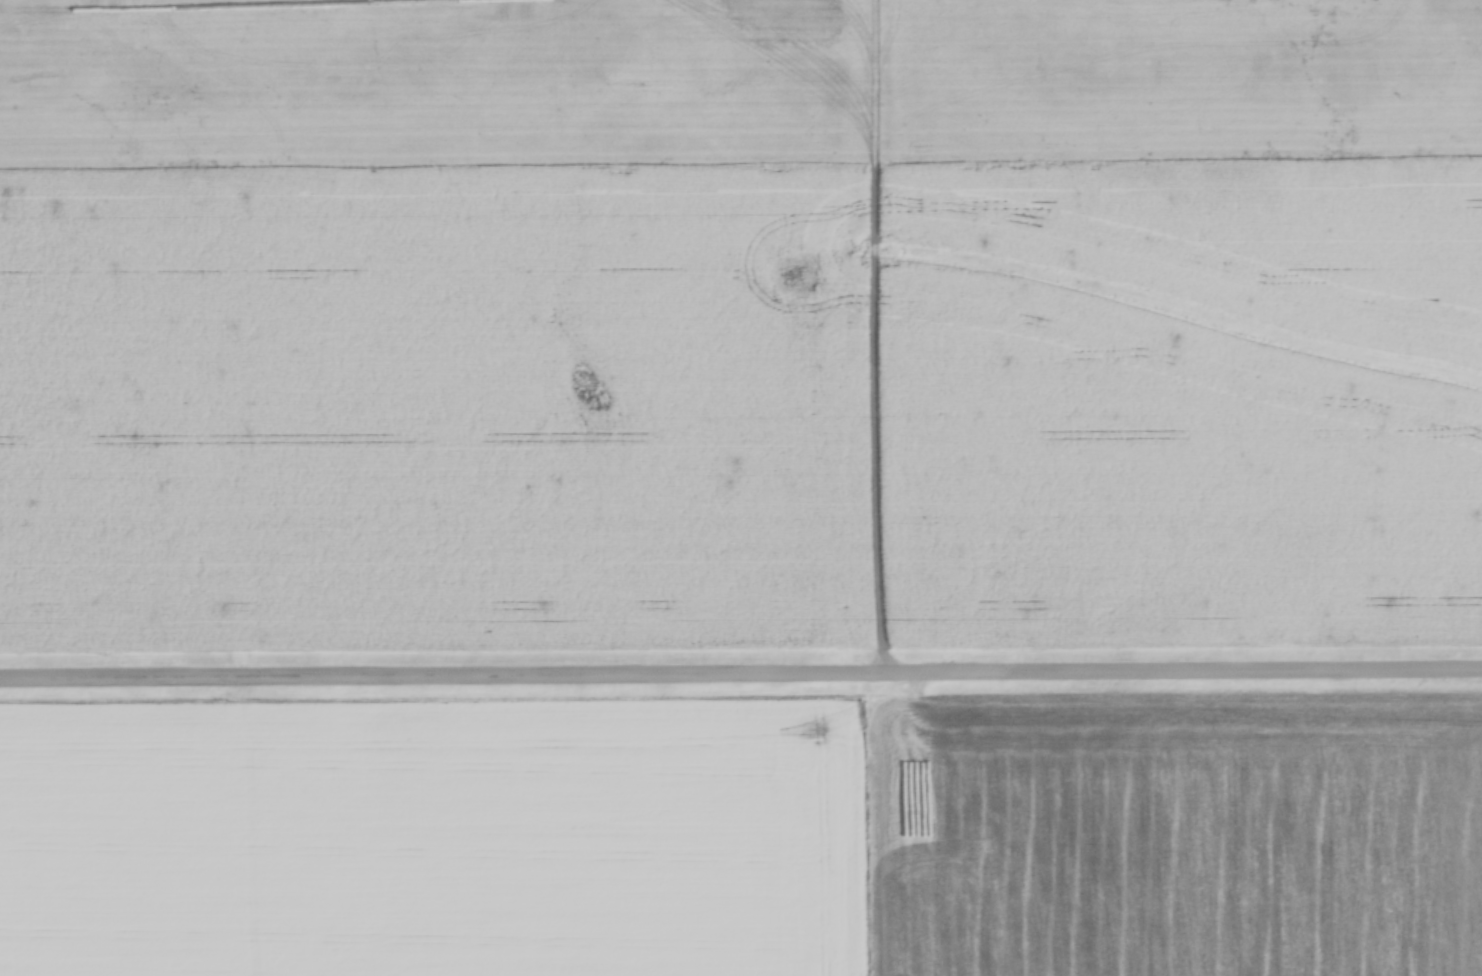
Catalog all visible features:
road: (740, 678)

